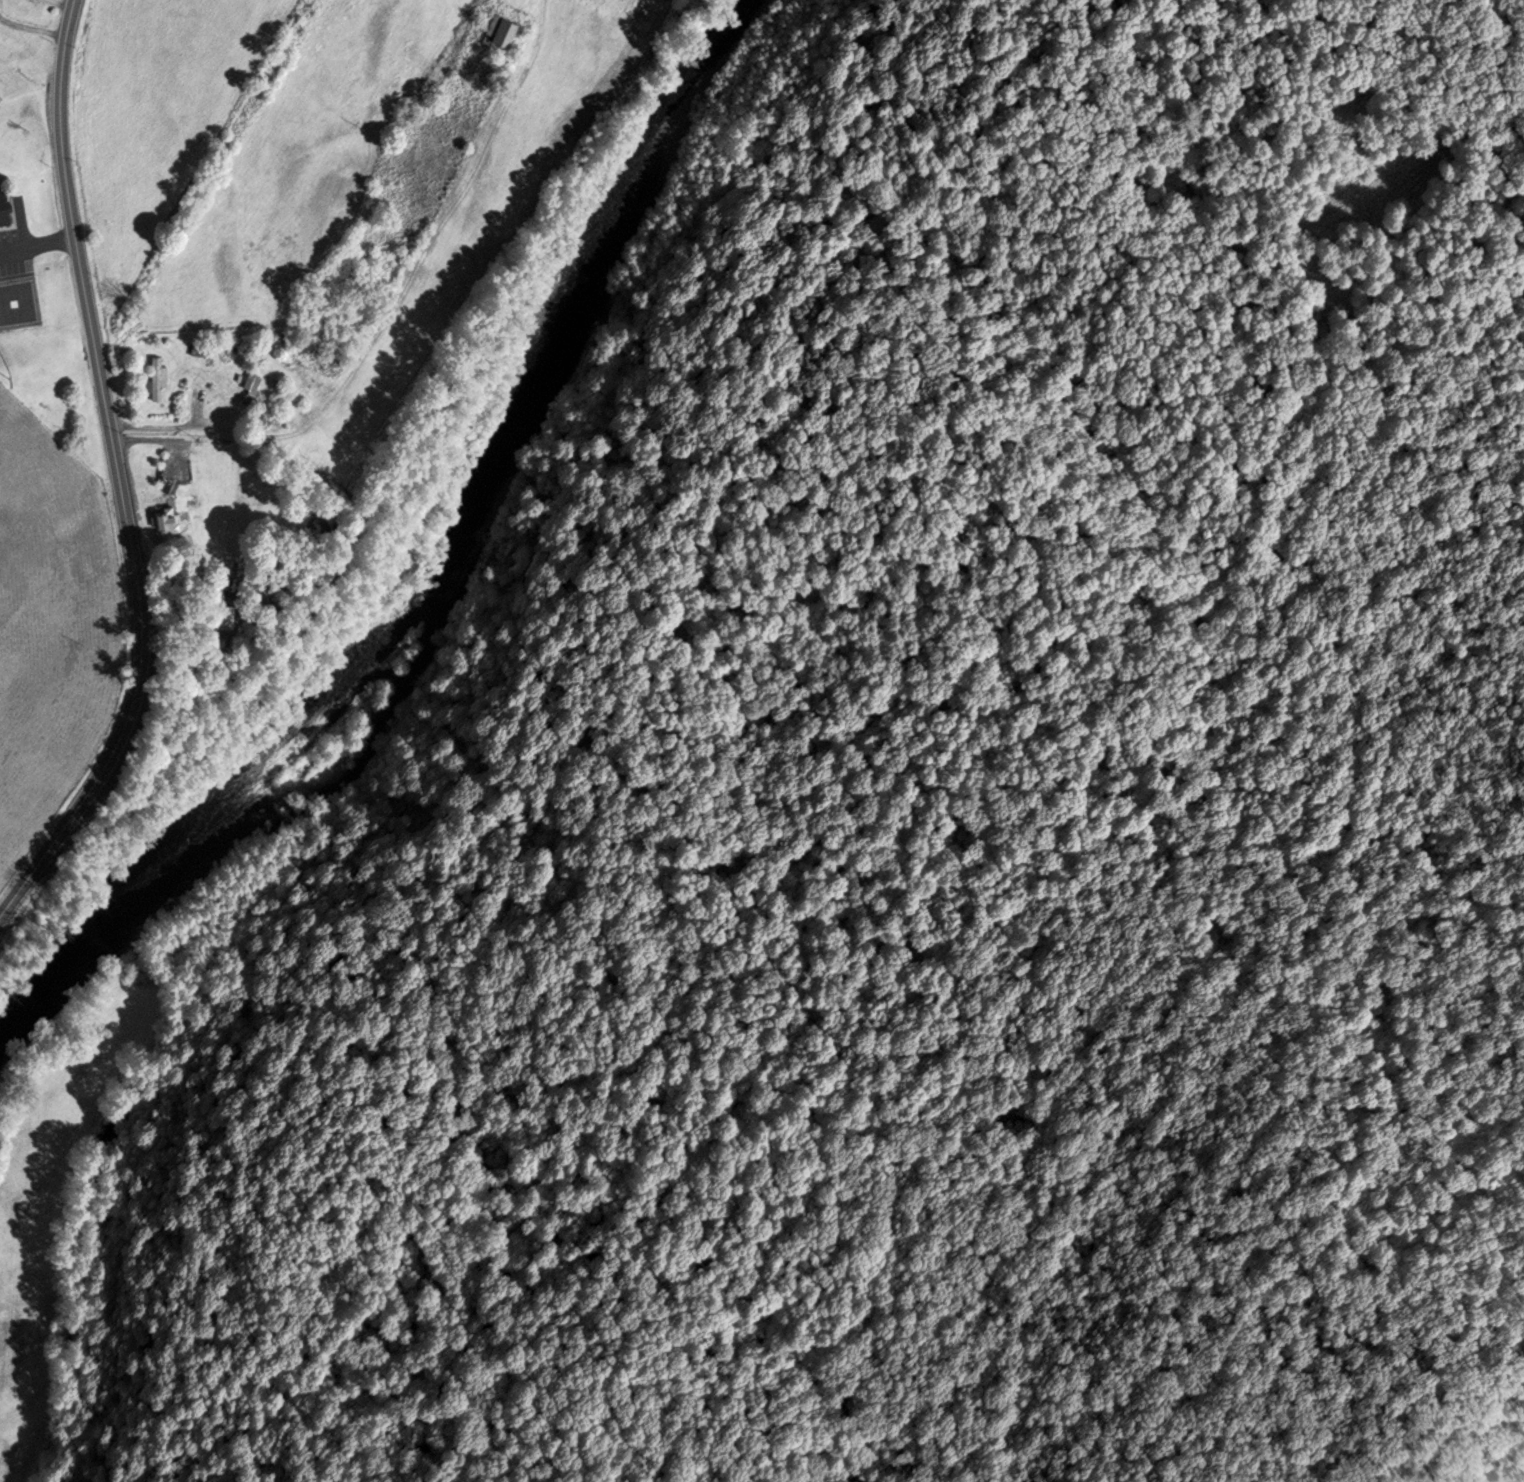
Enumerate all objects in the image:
road: (61, 2)
road: (31, 28)
building: (497, 31)
building: (1, 211)
road: (38, 244)
road: (418, 260)
parking lot: (17, 280)
building: (196, 348)
building: (154, 377)
building: (250, 380)
road: (167, 424)
road: (116, 475)
building: (162, 522)
river: (457, 580)

